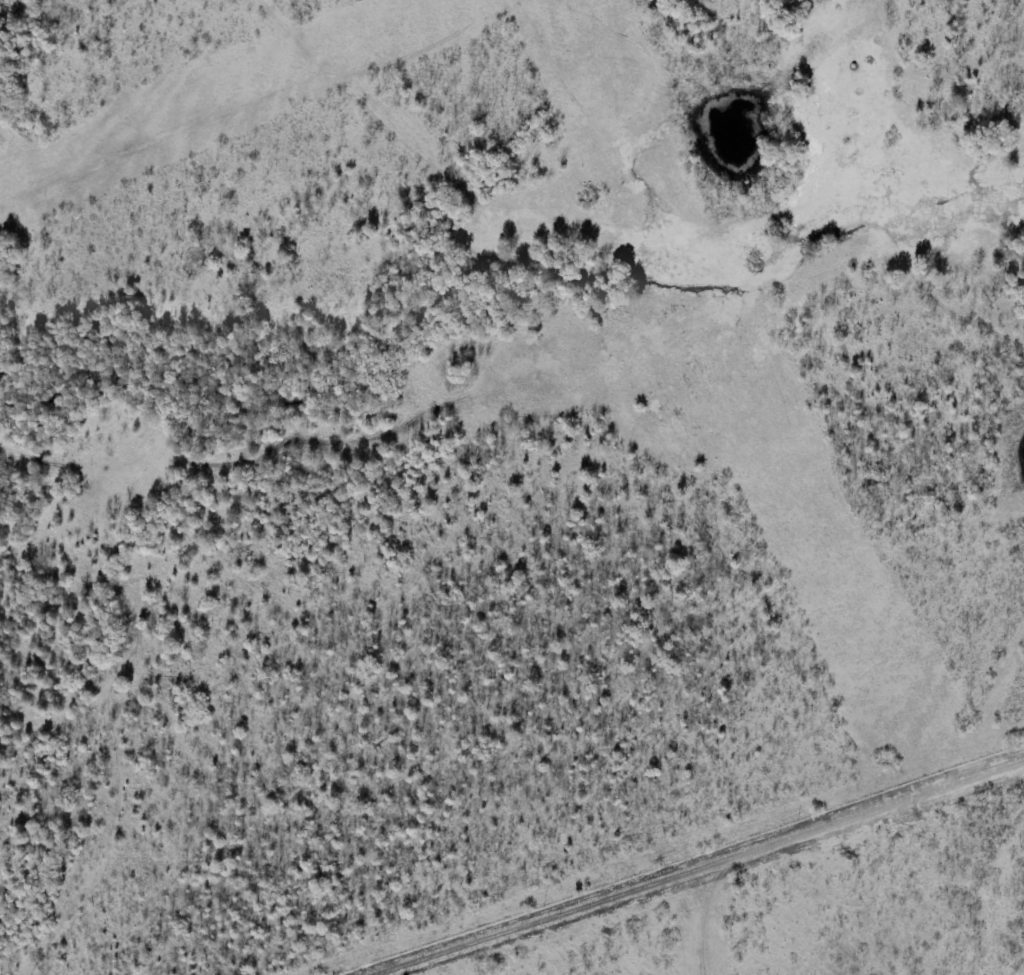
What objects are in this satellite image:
road: (733, 876)

